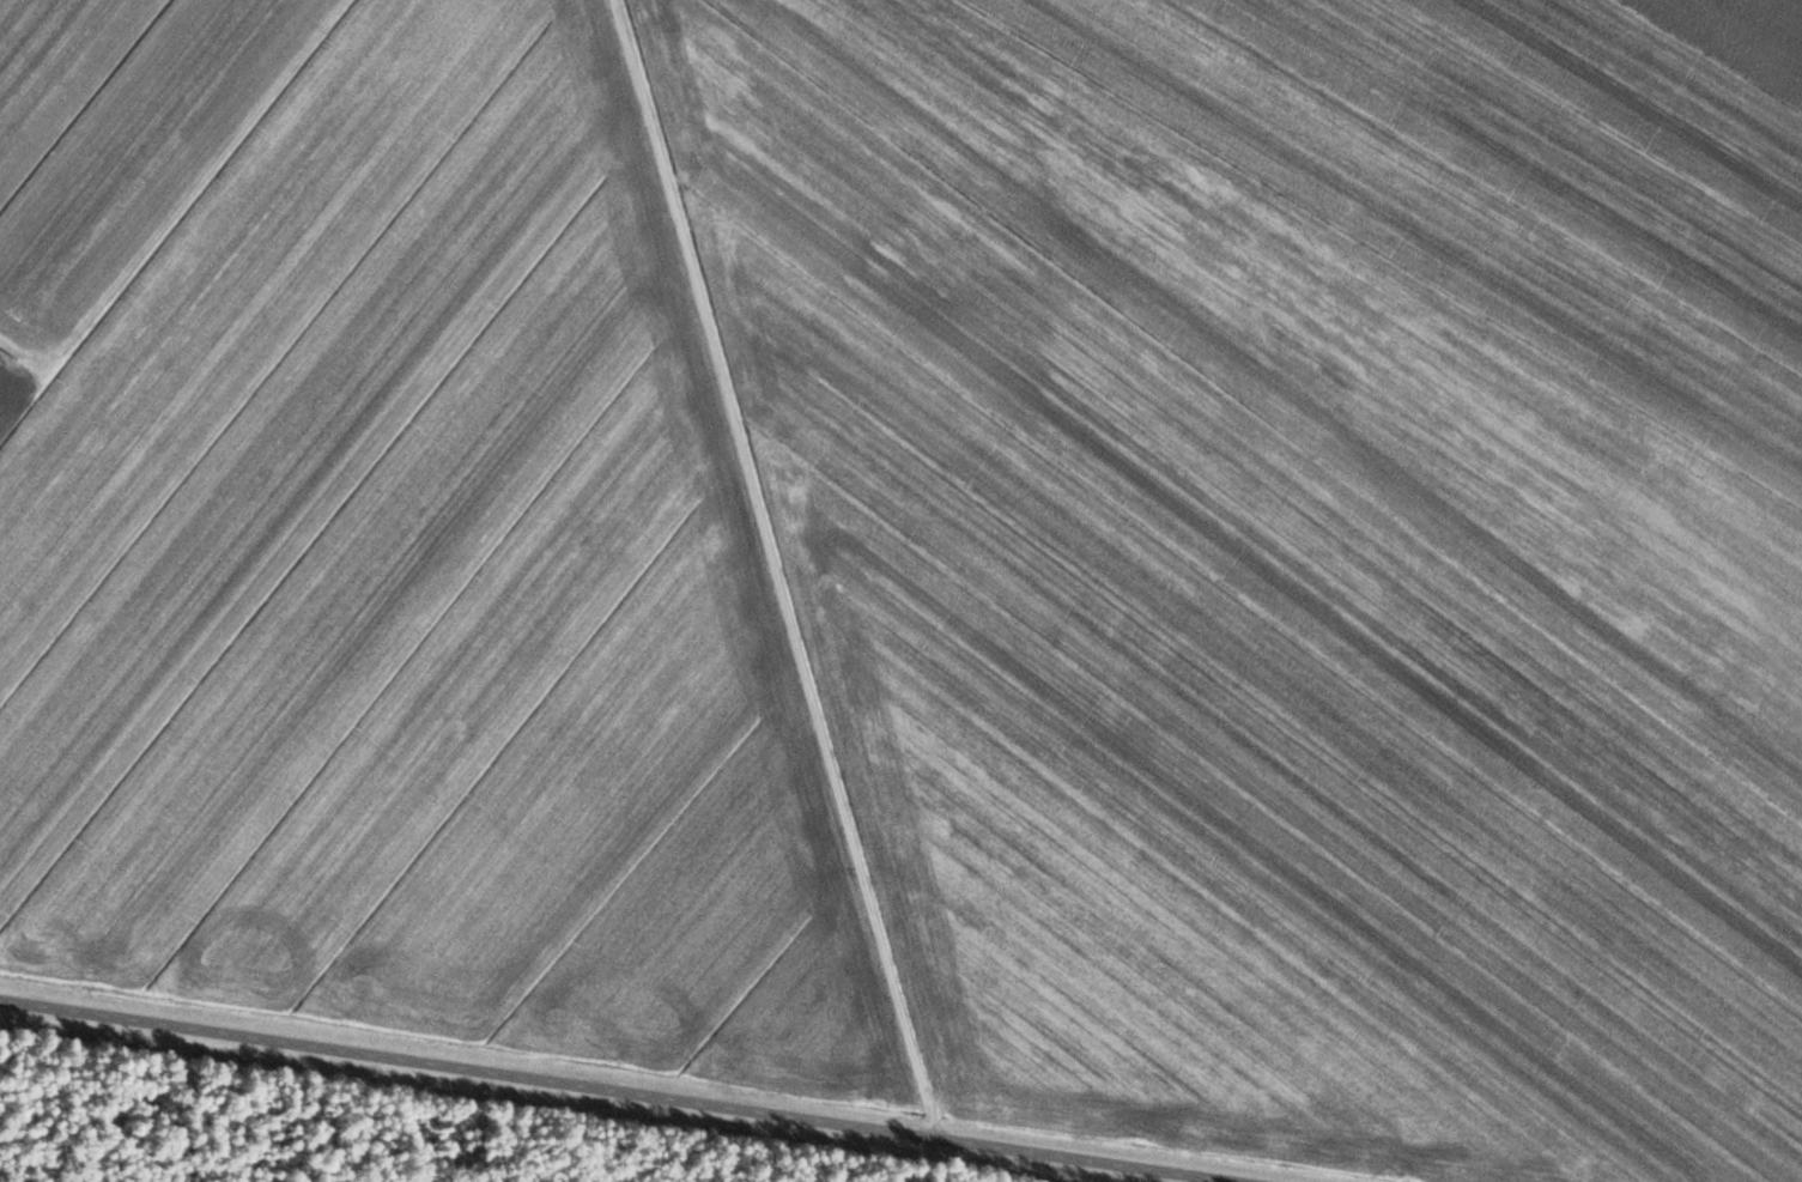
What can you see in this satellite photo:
road: (888, 425)
road: (775, 659)
road: (623, 1091)

